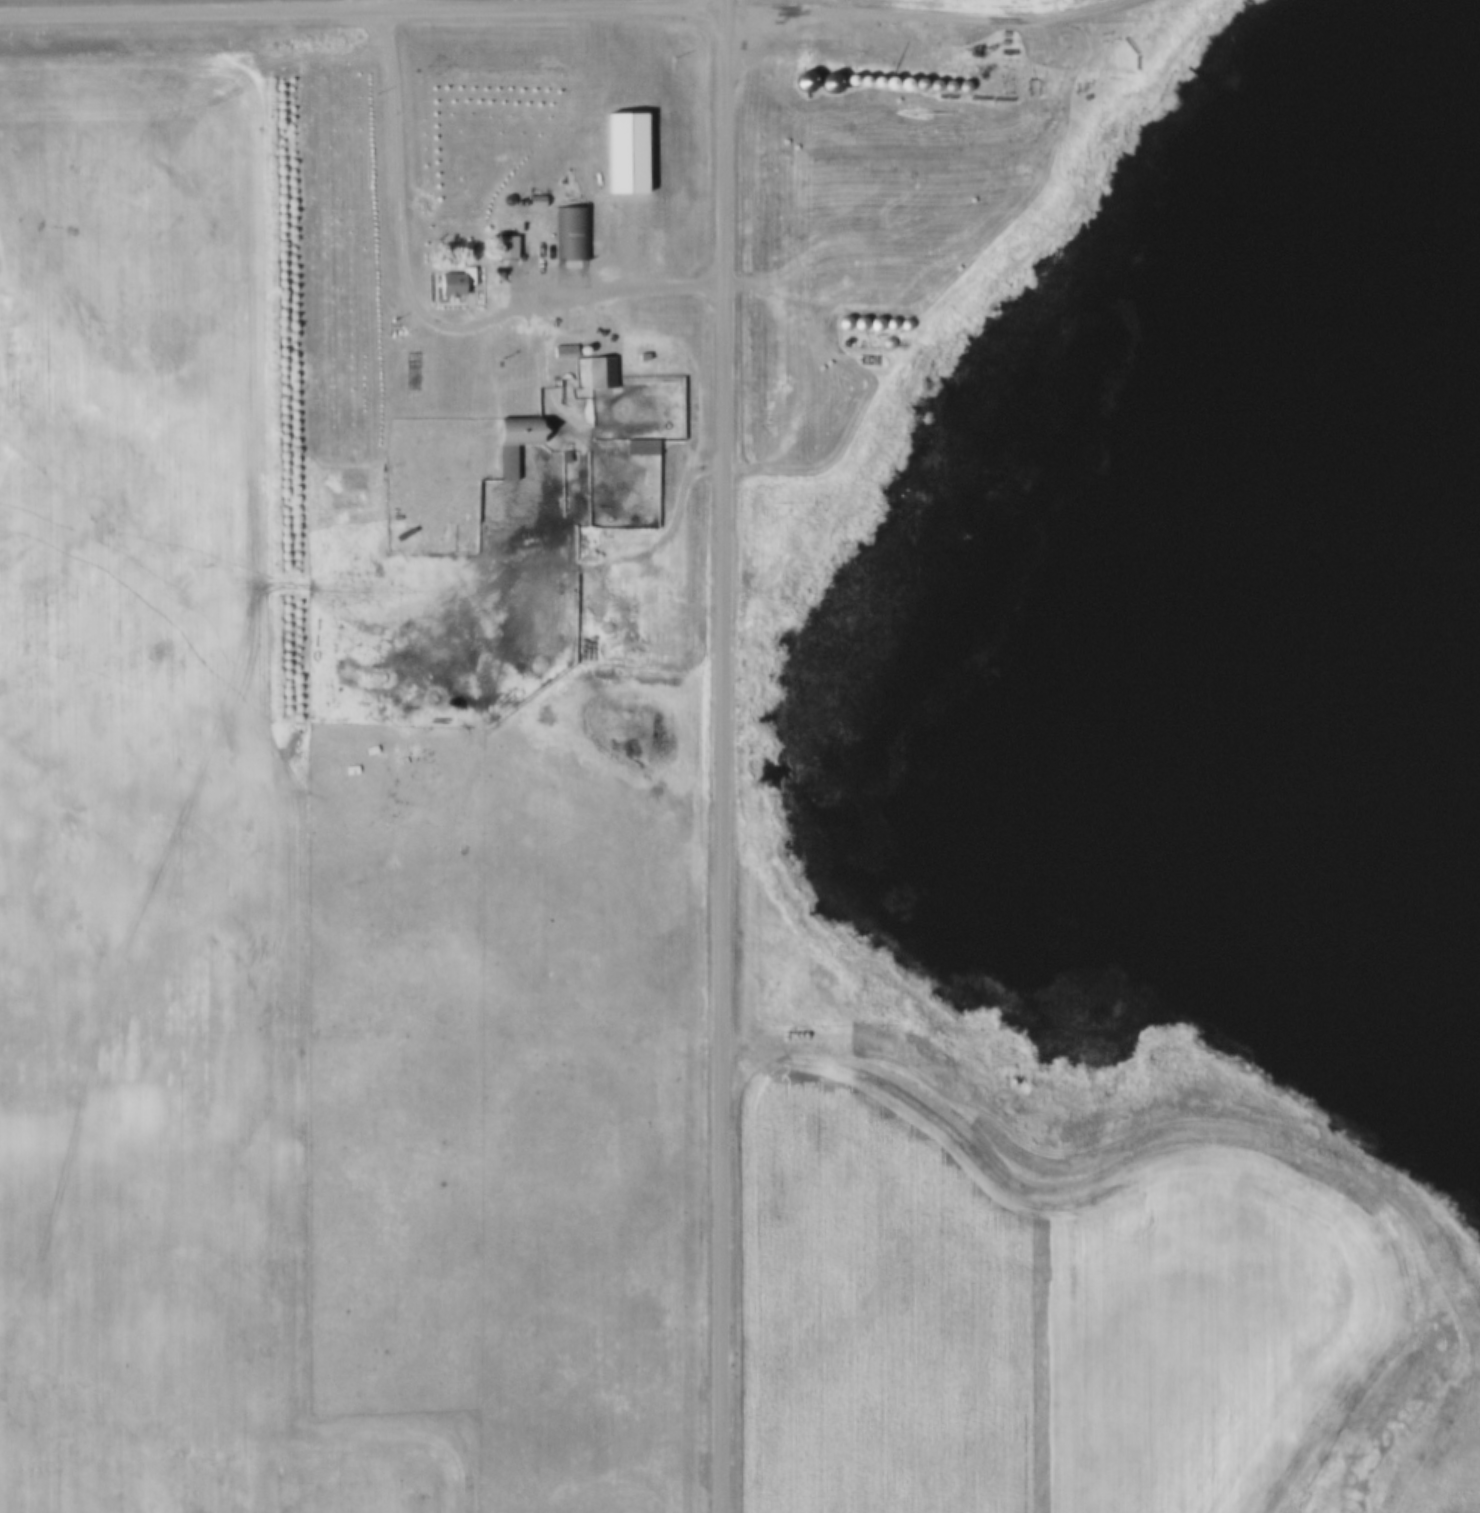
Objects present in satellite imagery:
road: (363, 8)
road: (923, 12)
building: (575, 235)
building: (508, 250)
building: (459, 286)
road: (426, 311)
building: (604, 375)
building: (645, 449)
building: (510, 465)
road: (725, 756)

